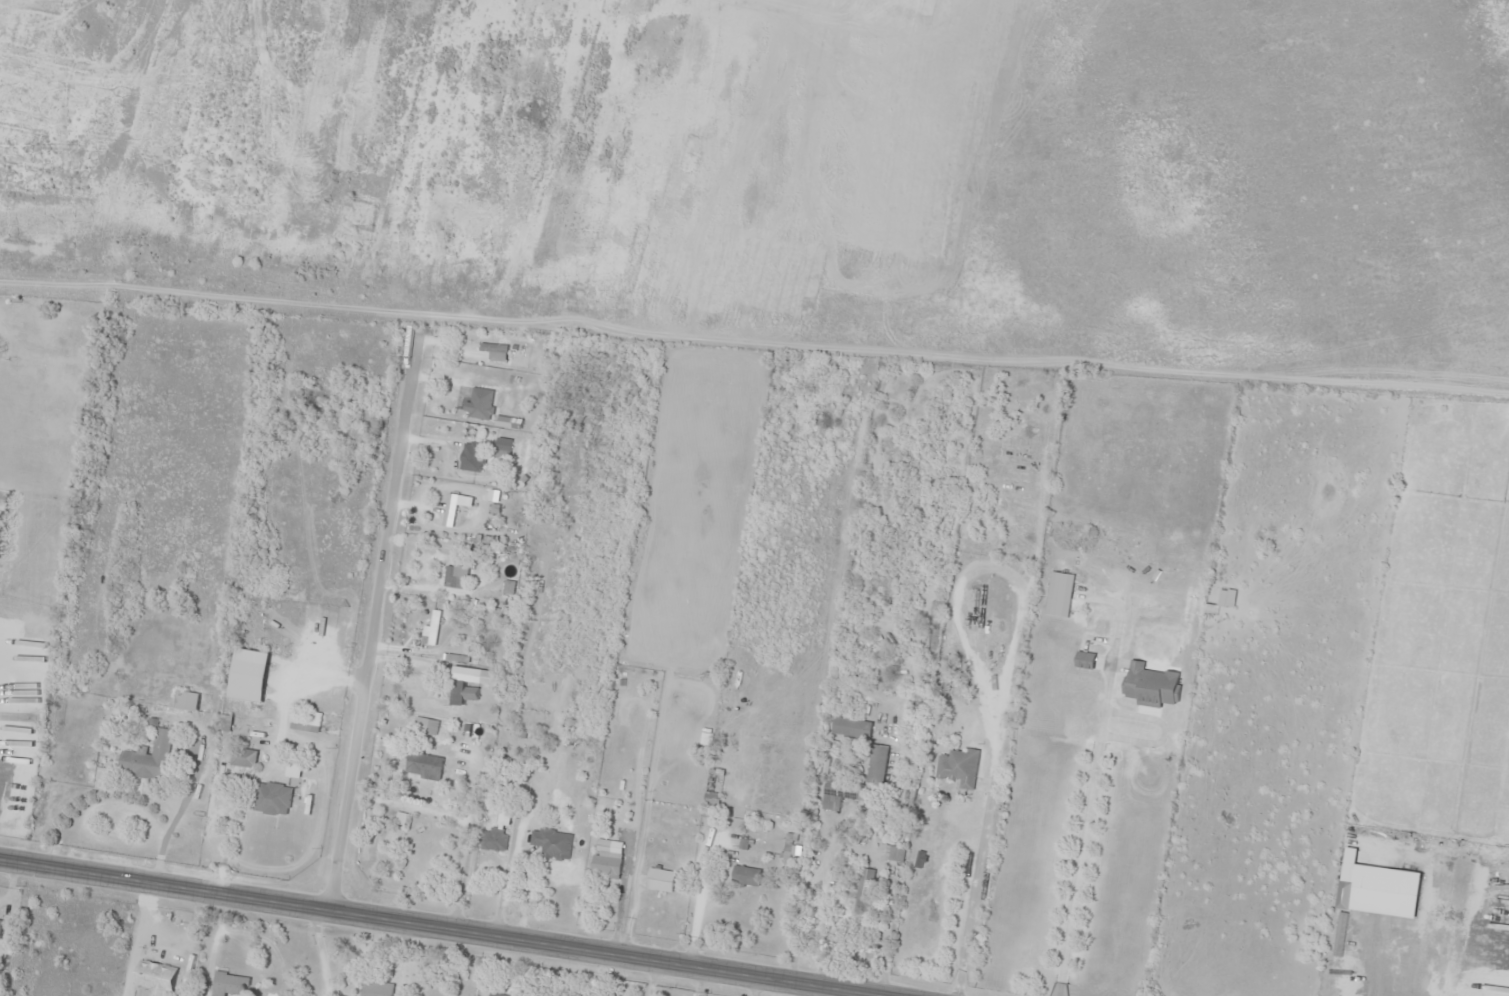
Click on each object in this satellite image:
building: (493, 351)
building: (479, 403)
building: (501, 444)
building: (470, 456)
building: (449, 510)
building: (450, 576)
building: (1058, 593)
building: (1225, 597)
road: (370, 625)
building: (431, 627)
building: (247, 668)
building: (1149, 684)
building: (458, 693)
building: (184, 700)
building: (303, 719)
building: (418, 725)
building: (849, 726)
building: (146, 757)
building: (242, 757)
building: (875, 763)
building: (422, 766)
building: (957, 768)
building: (836, 794)
building: (270, 798)
building: (495, 835)
building: (550, 843)
building: (787, 847)
building: (894, 853)
building: (604, 866)
building: (744, 875)
building: (658, 879)
building: (863, 889)
building: (0, 917)
road: (450, 928)
building: (153, 977)
building: (228, 984)
building: (376, 988)

